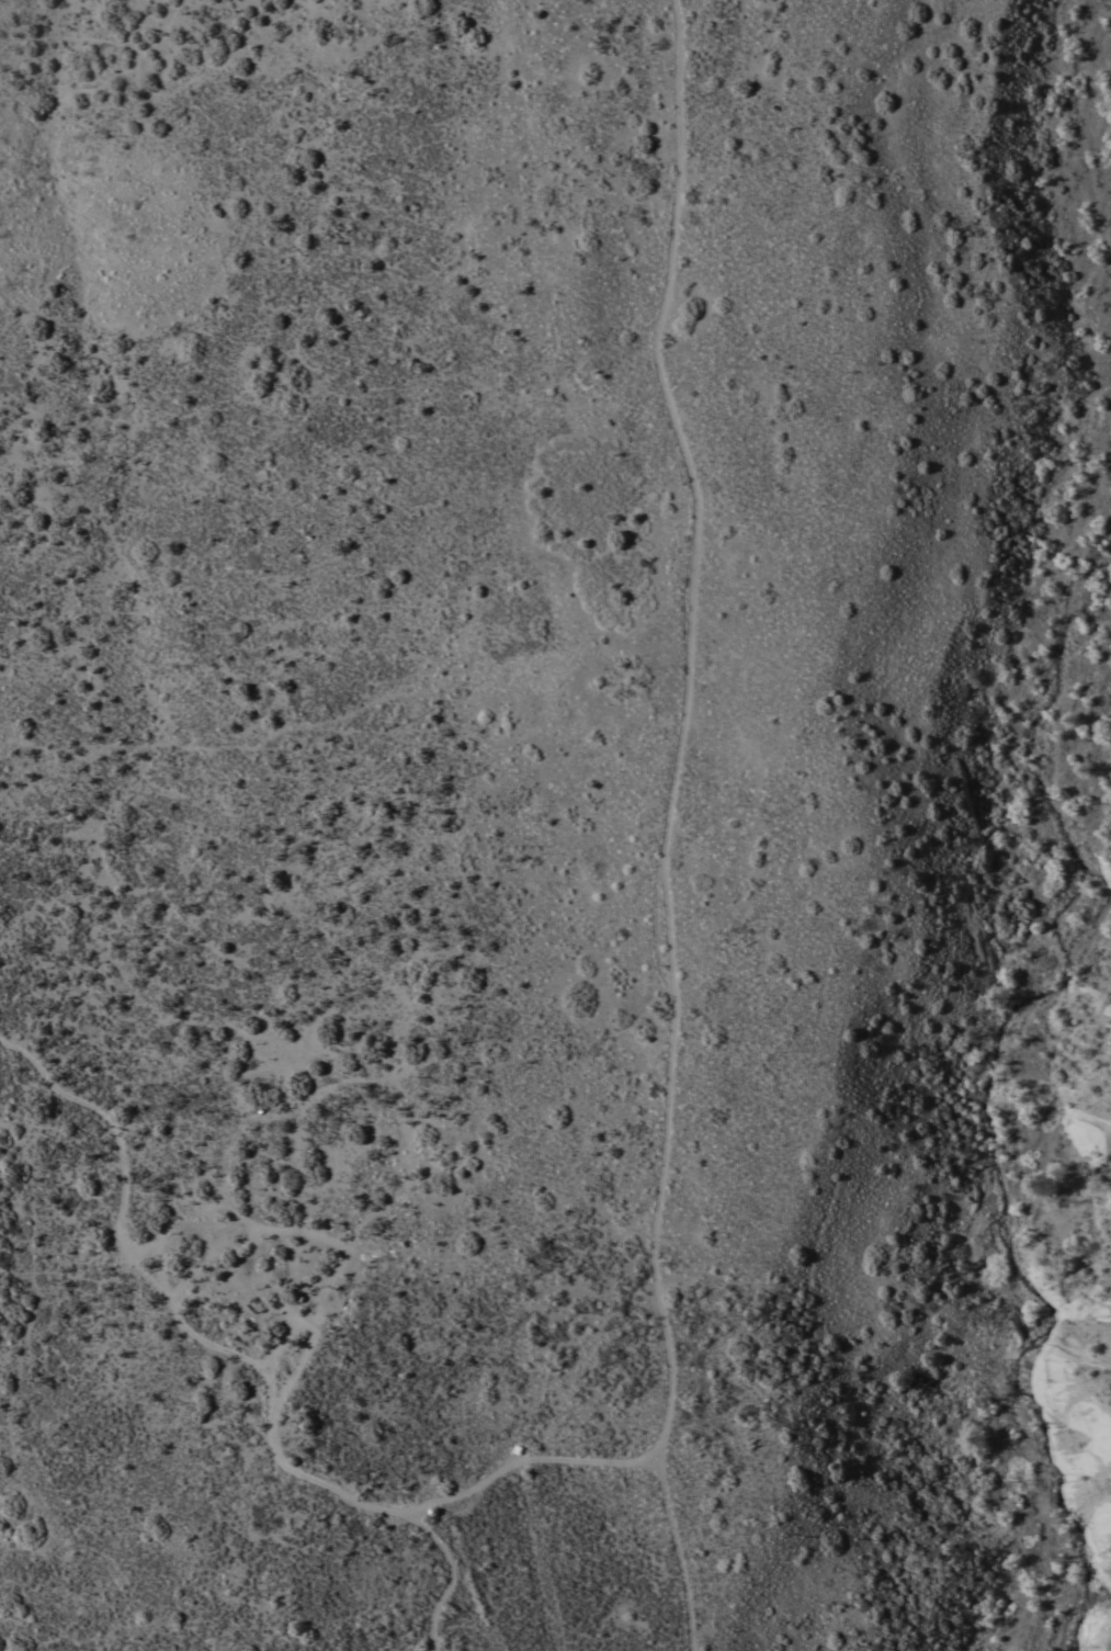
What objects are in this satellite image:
road: (669, 271)
road: (669, 1122)
road: (235, 1353)
road: (676, 1549)

